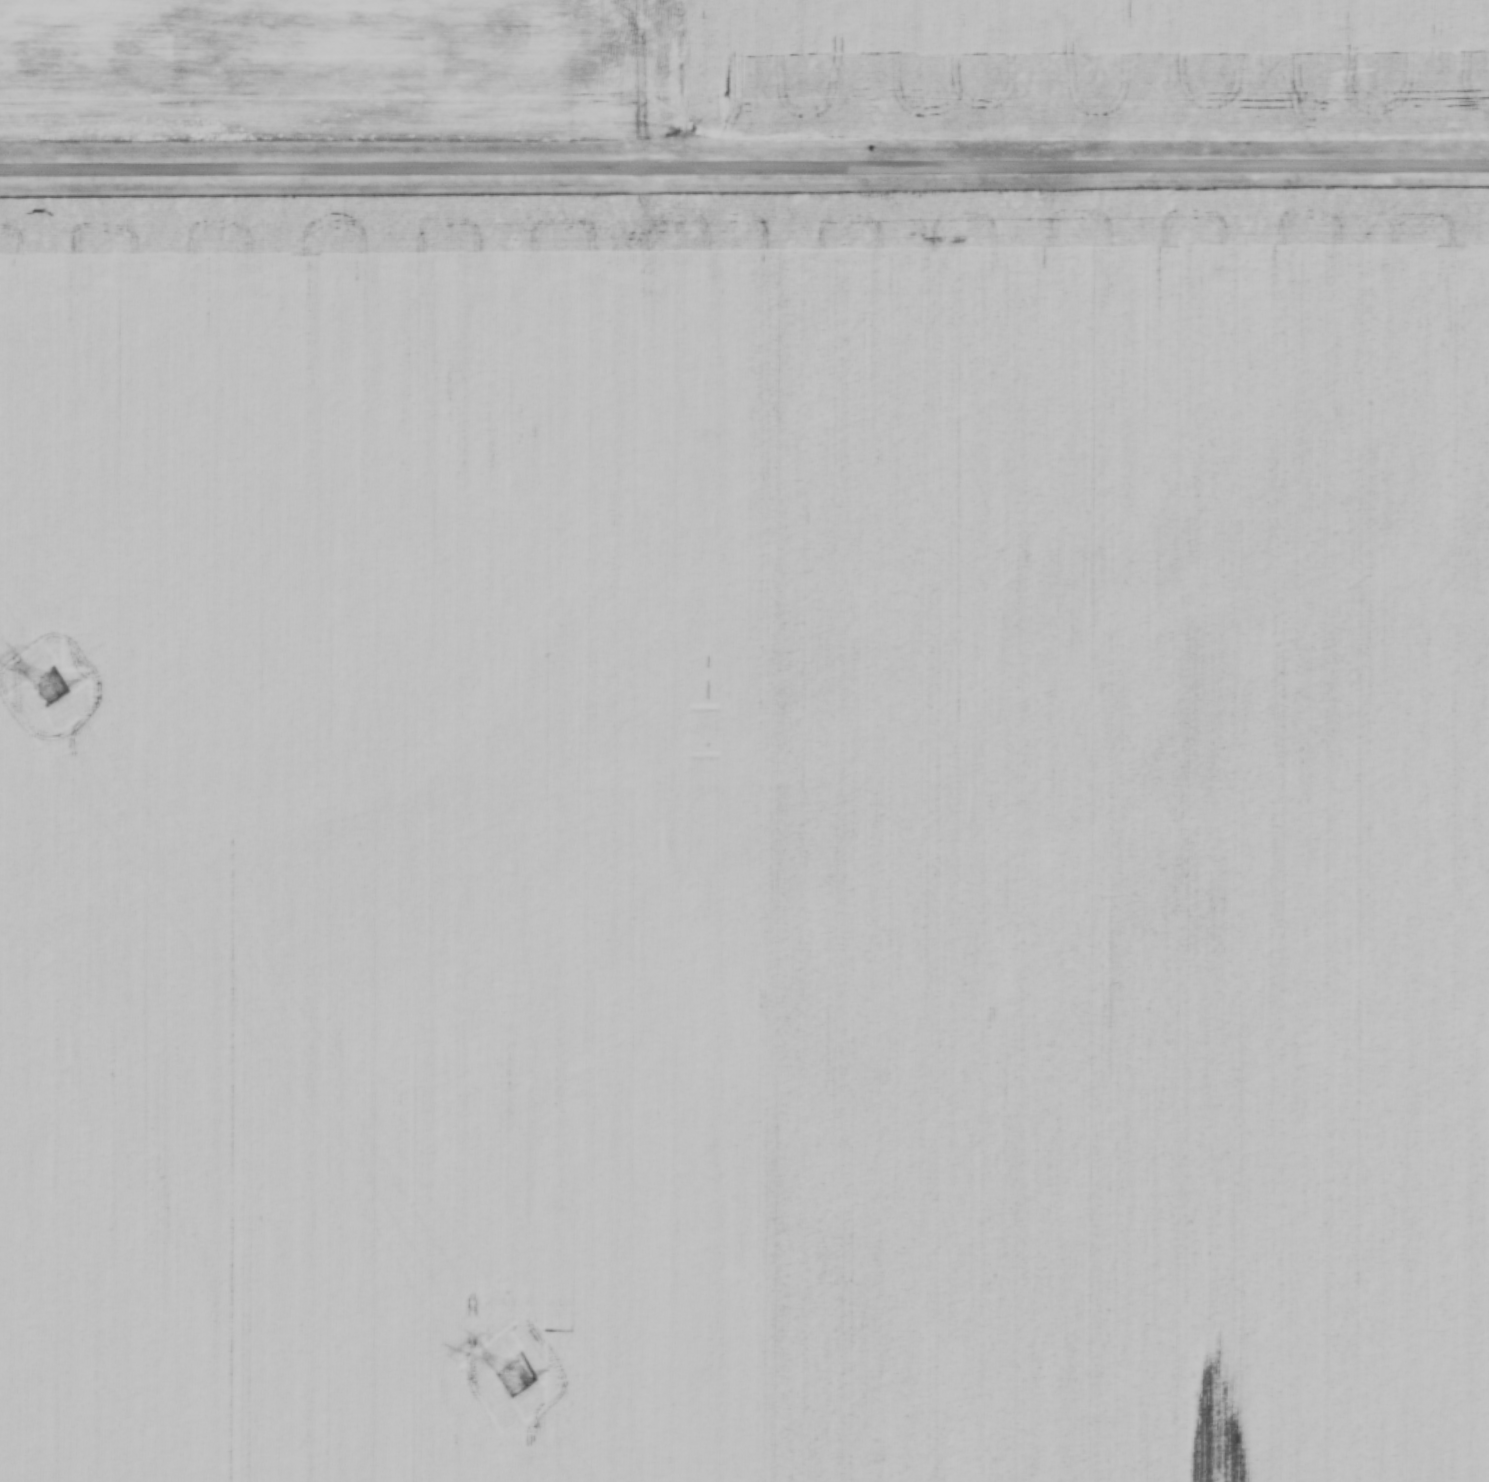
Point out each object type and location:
road: (744, 163)
power tower: (50, 689)
power tower: (512, 1377)

